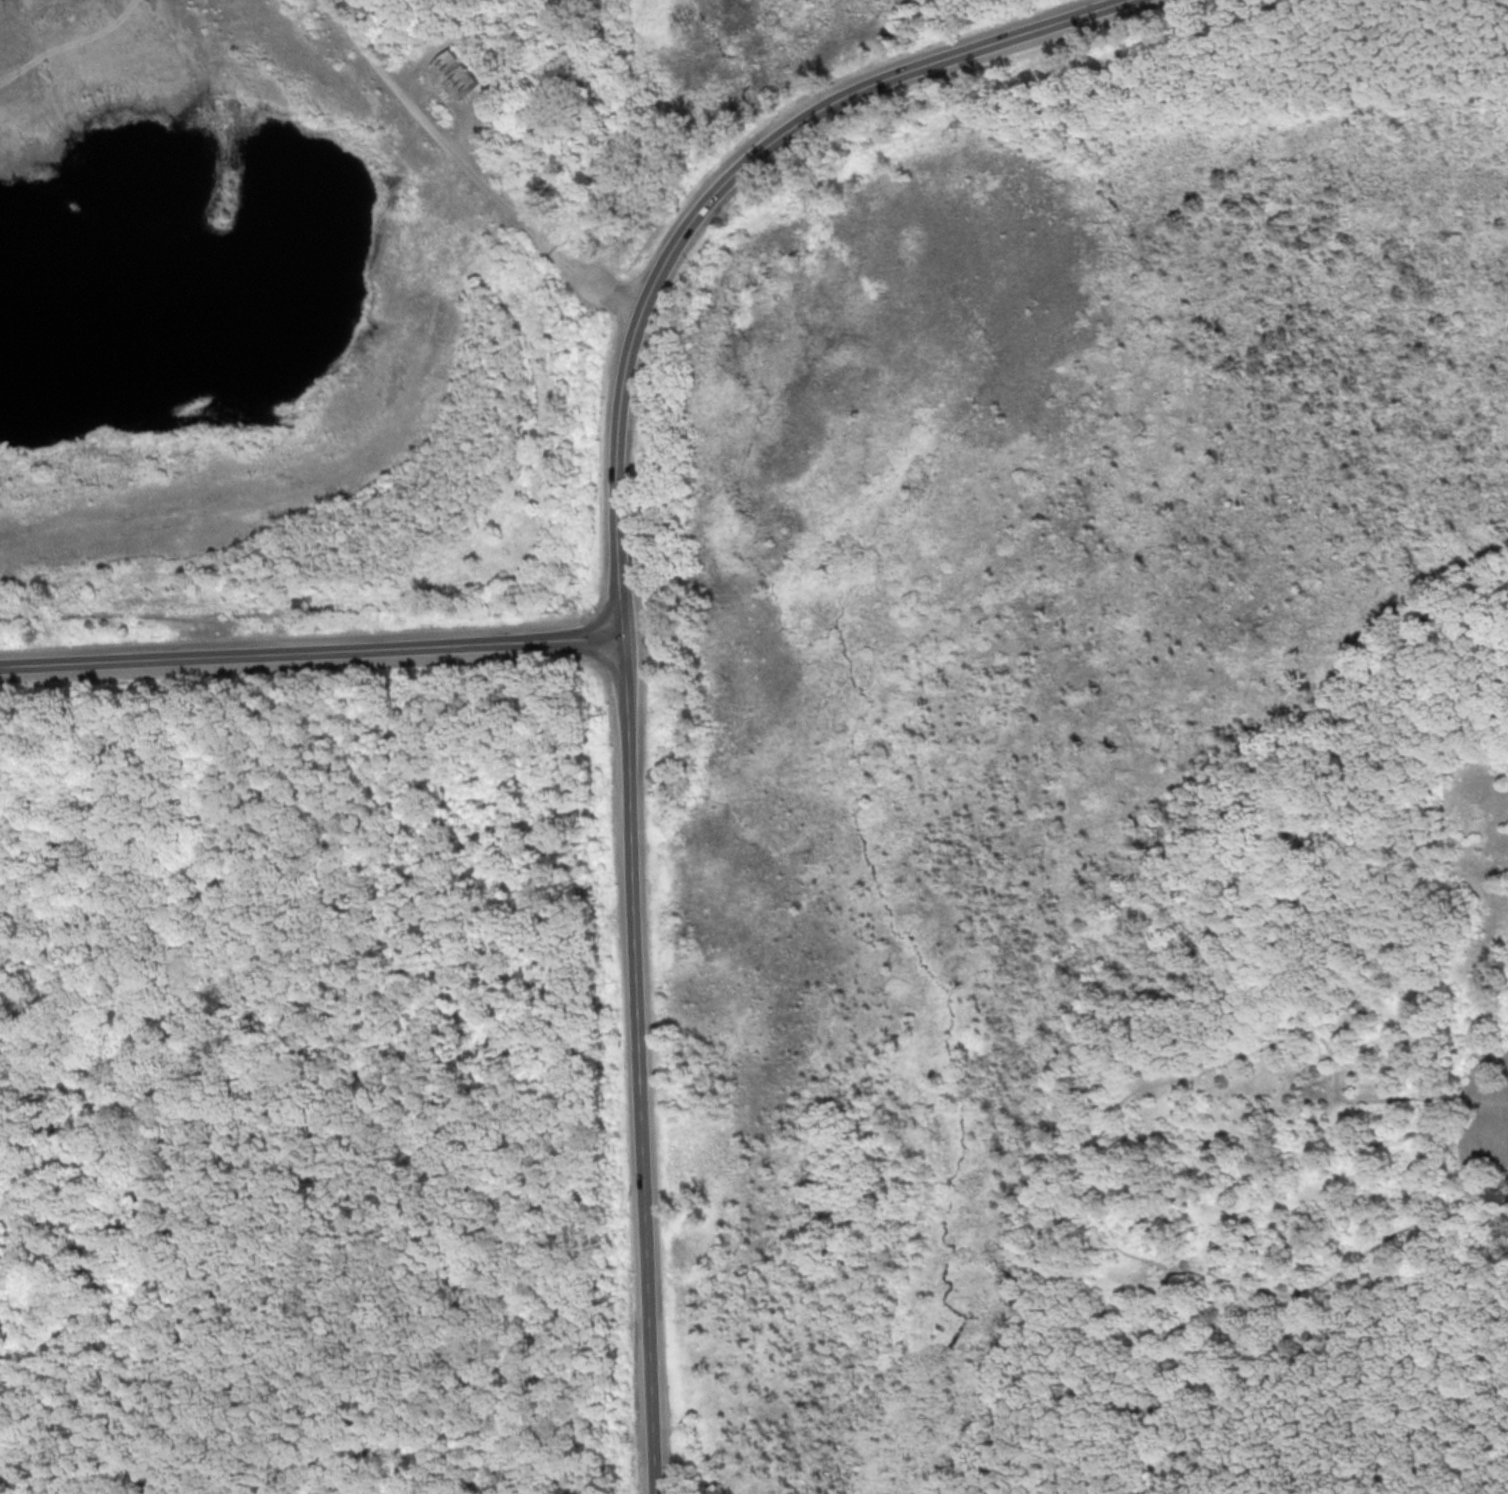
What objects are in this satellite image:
building: (456, 75)
road: (472, 169)
road: (713, 199)
road: (311, 653)
park: (854, 838)
road: (637, 1067)
road: (1184, 1077)
road: (1489, 1166)
road: (1230, 1325)

